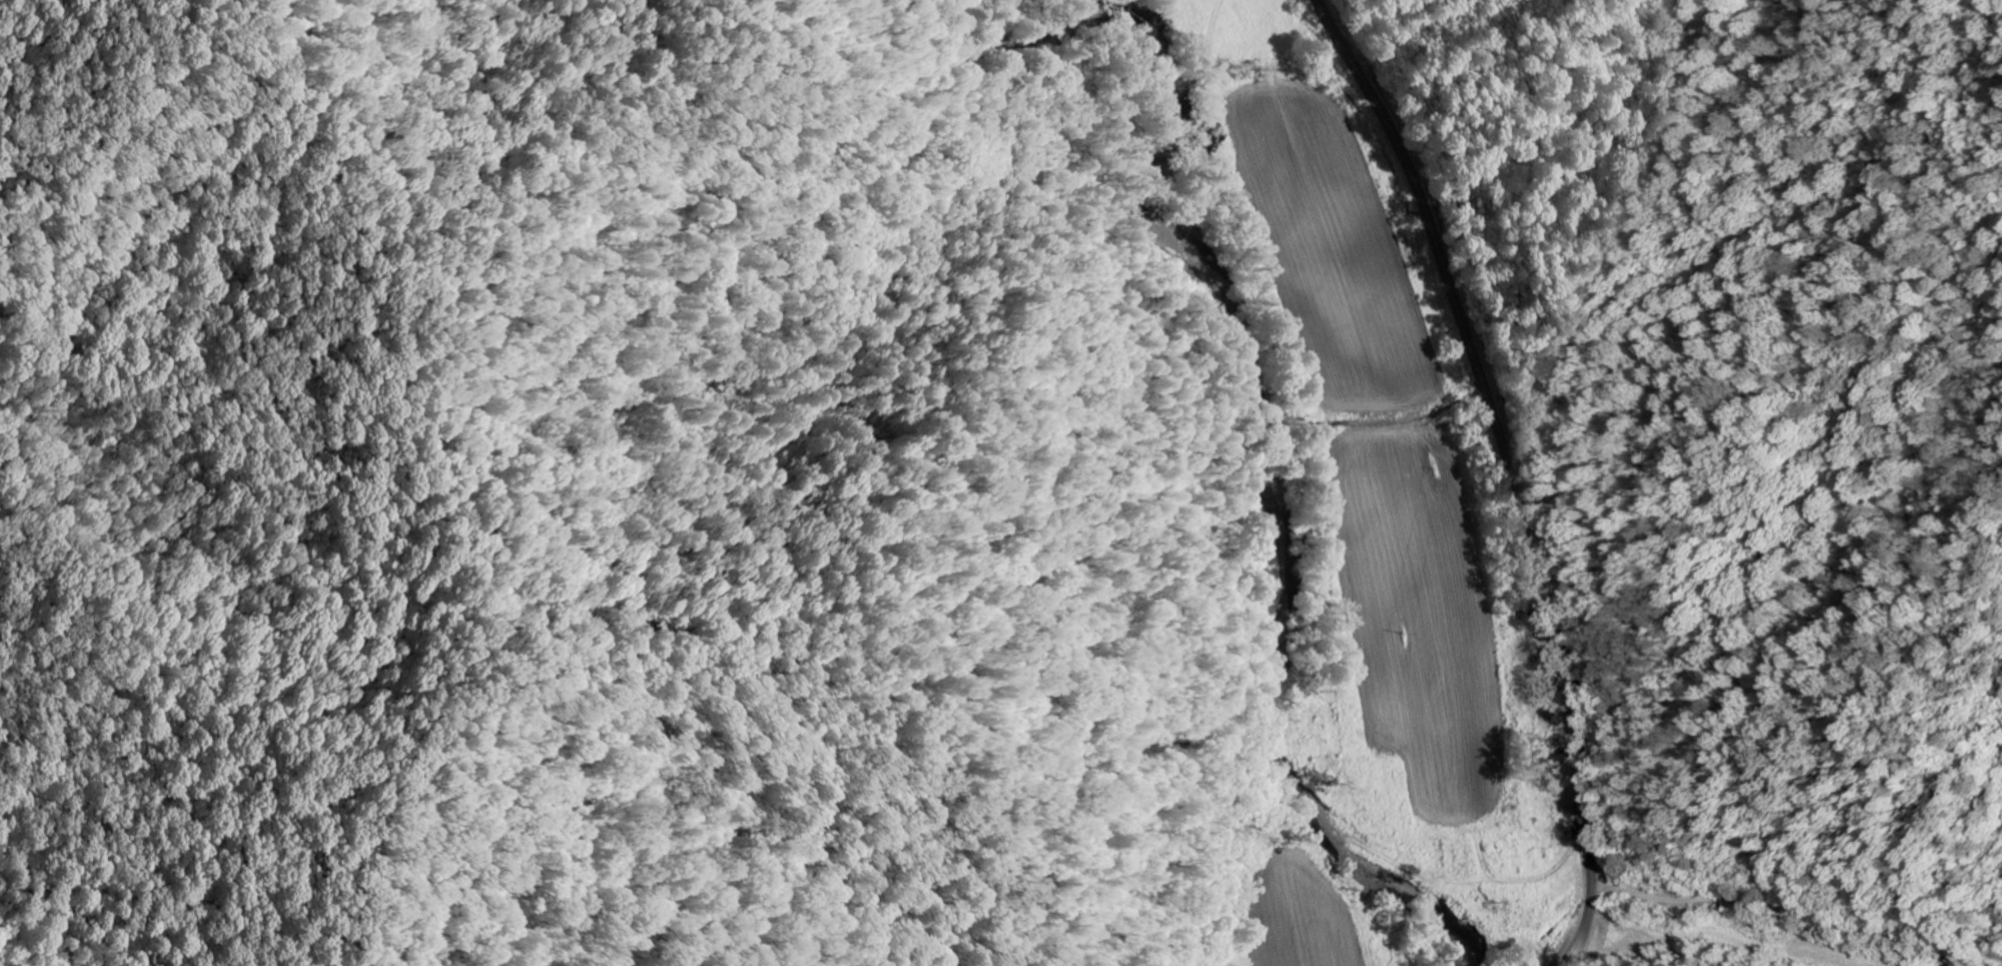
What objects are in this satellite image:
road: (1513, 470)
road: (1796, 910)

